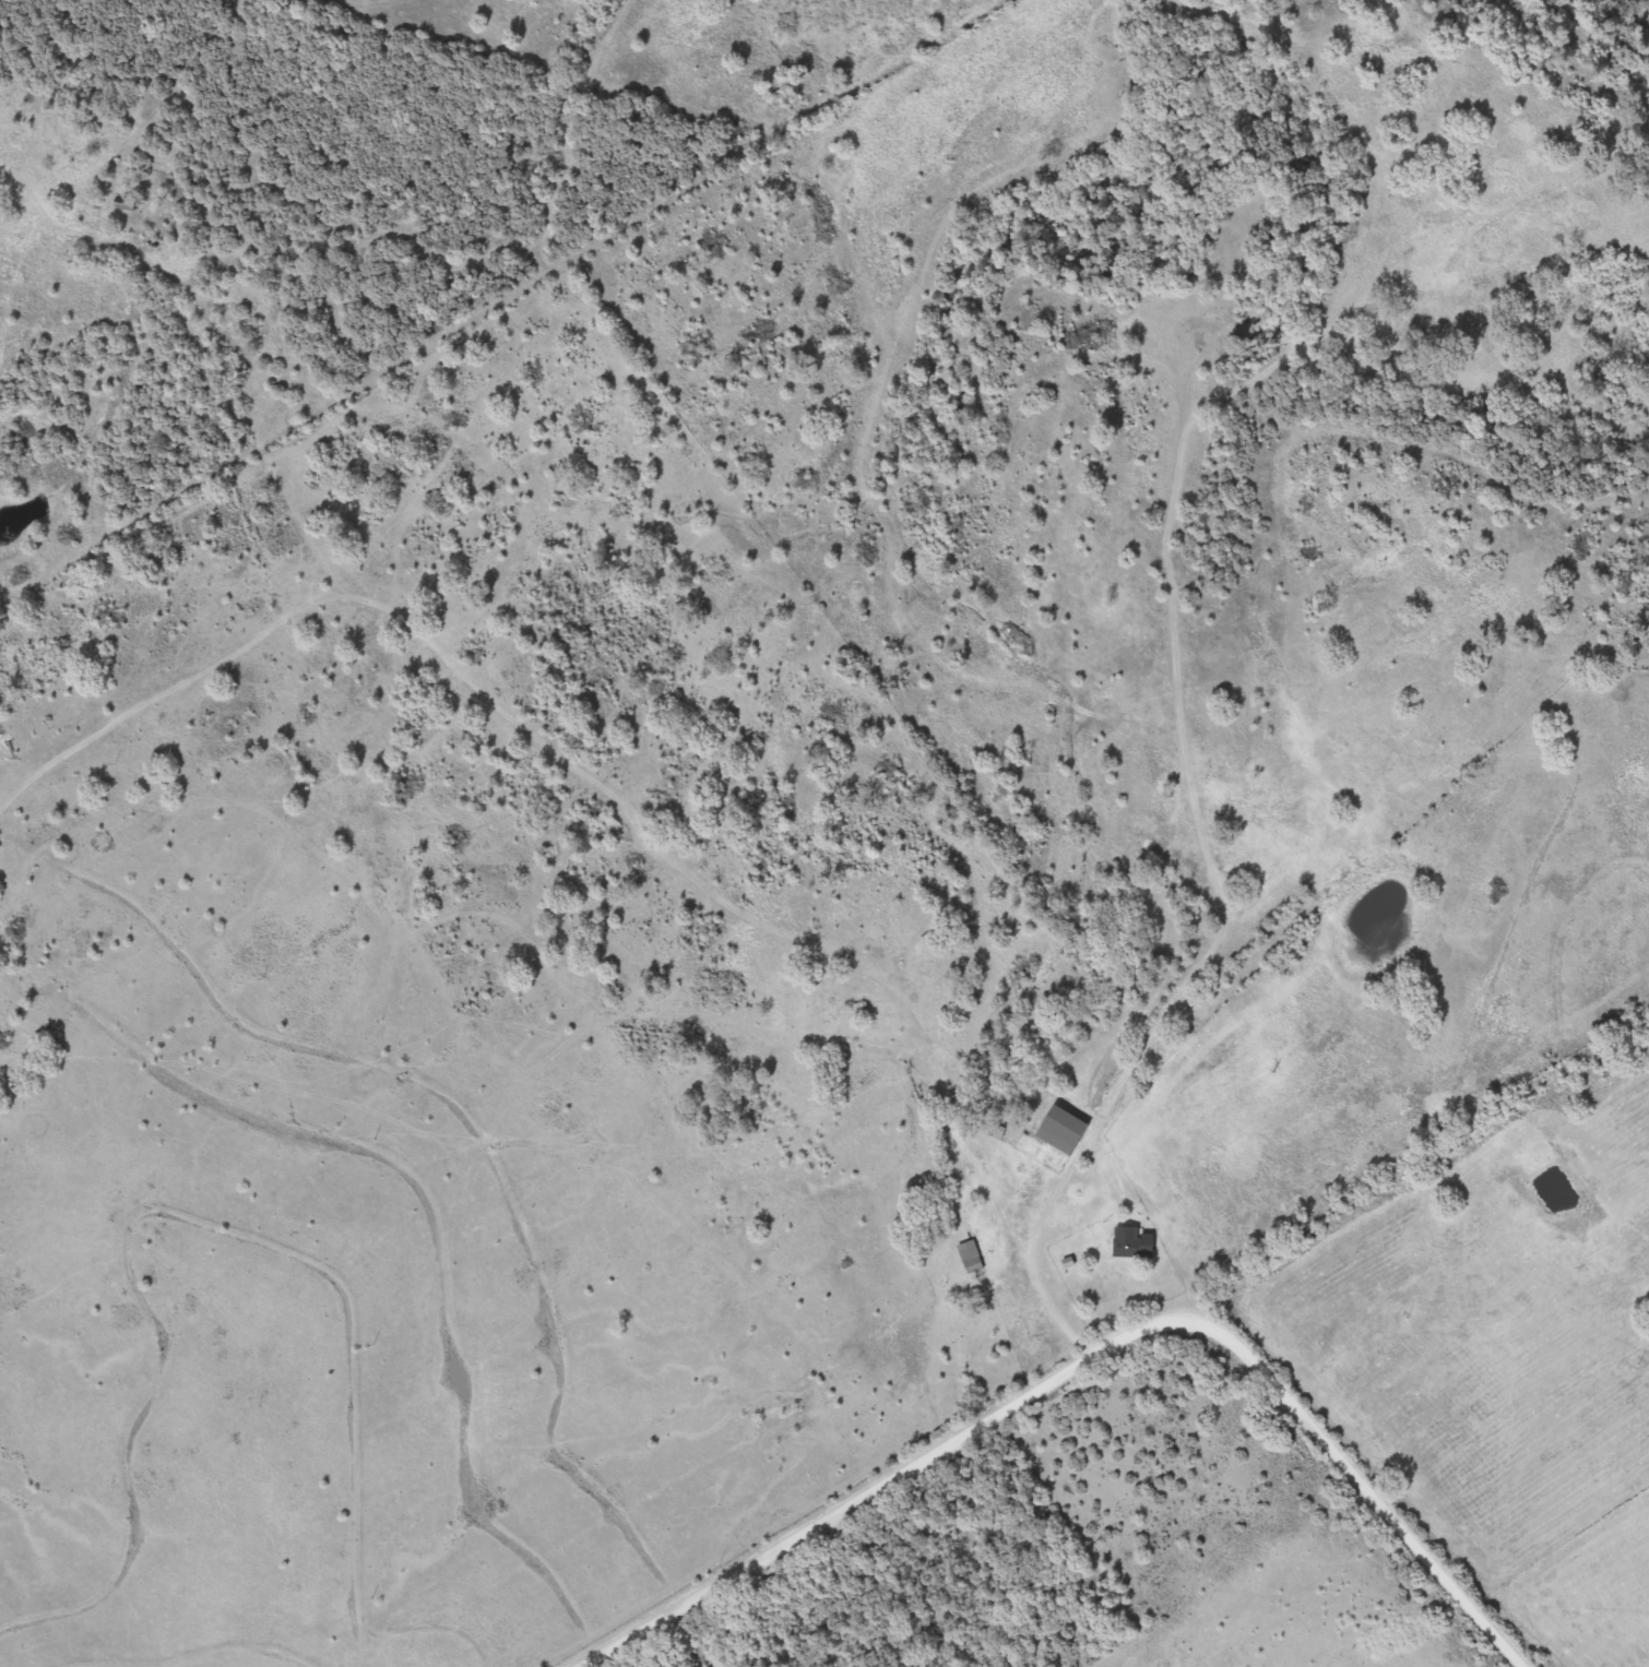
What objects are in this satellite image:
building: (1065, 1131)
building: (1128, 1246)
building: (972, 1258)
road: (1090, 1360)

